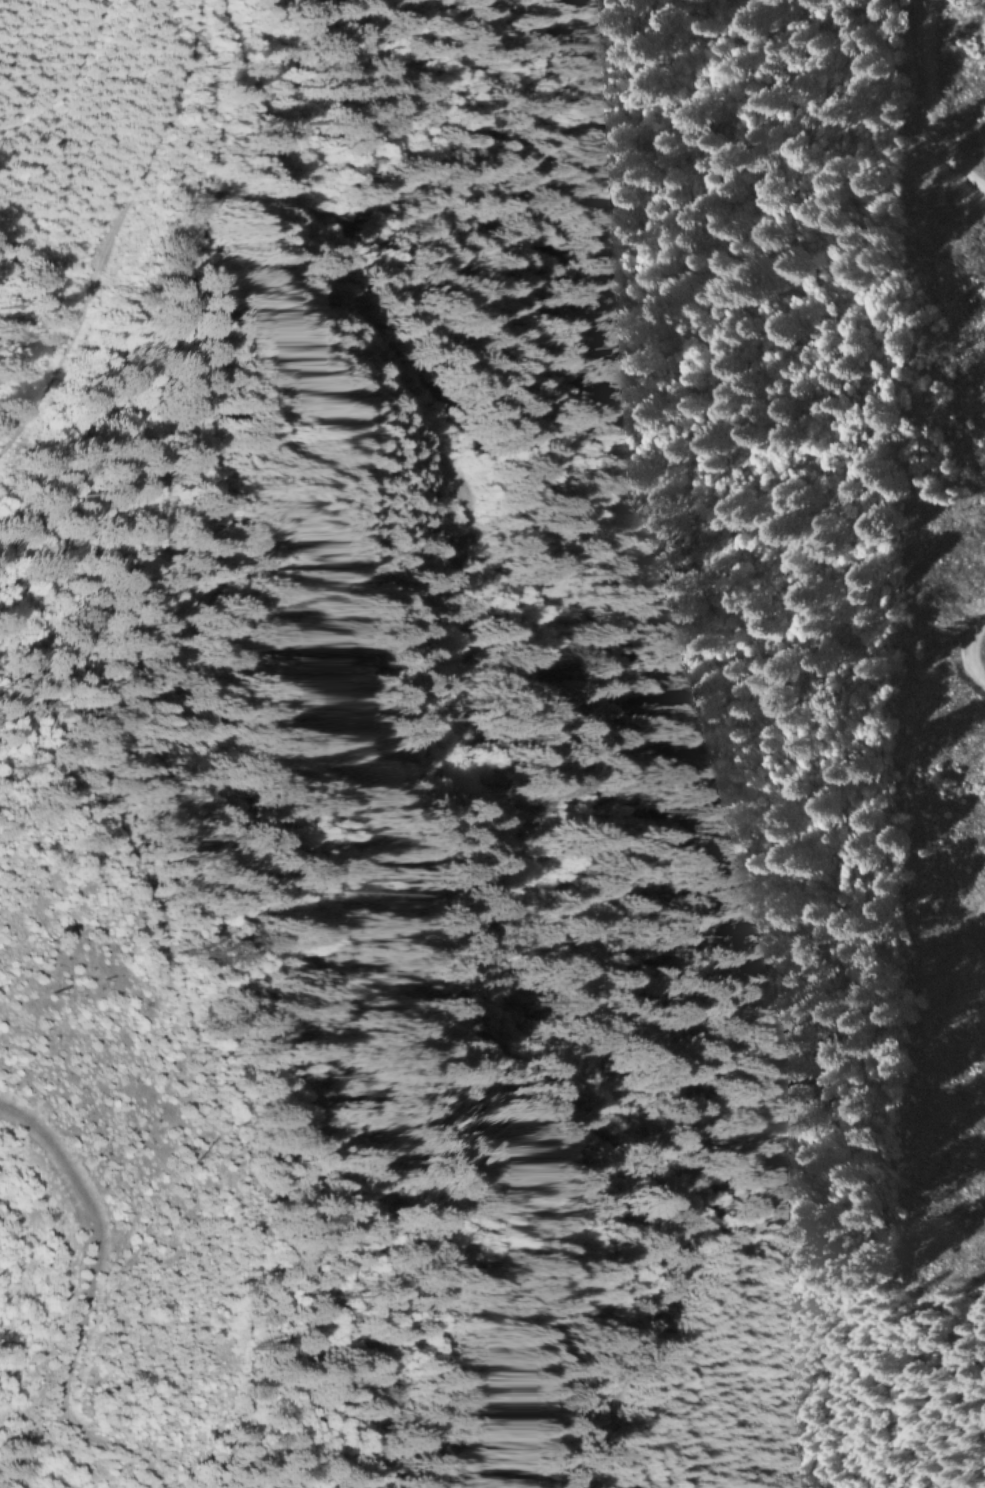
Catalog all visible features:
road: (109, 236)
road: (419, 761)
road: (80, 1309)

